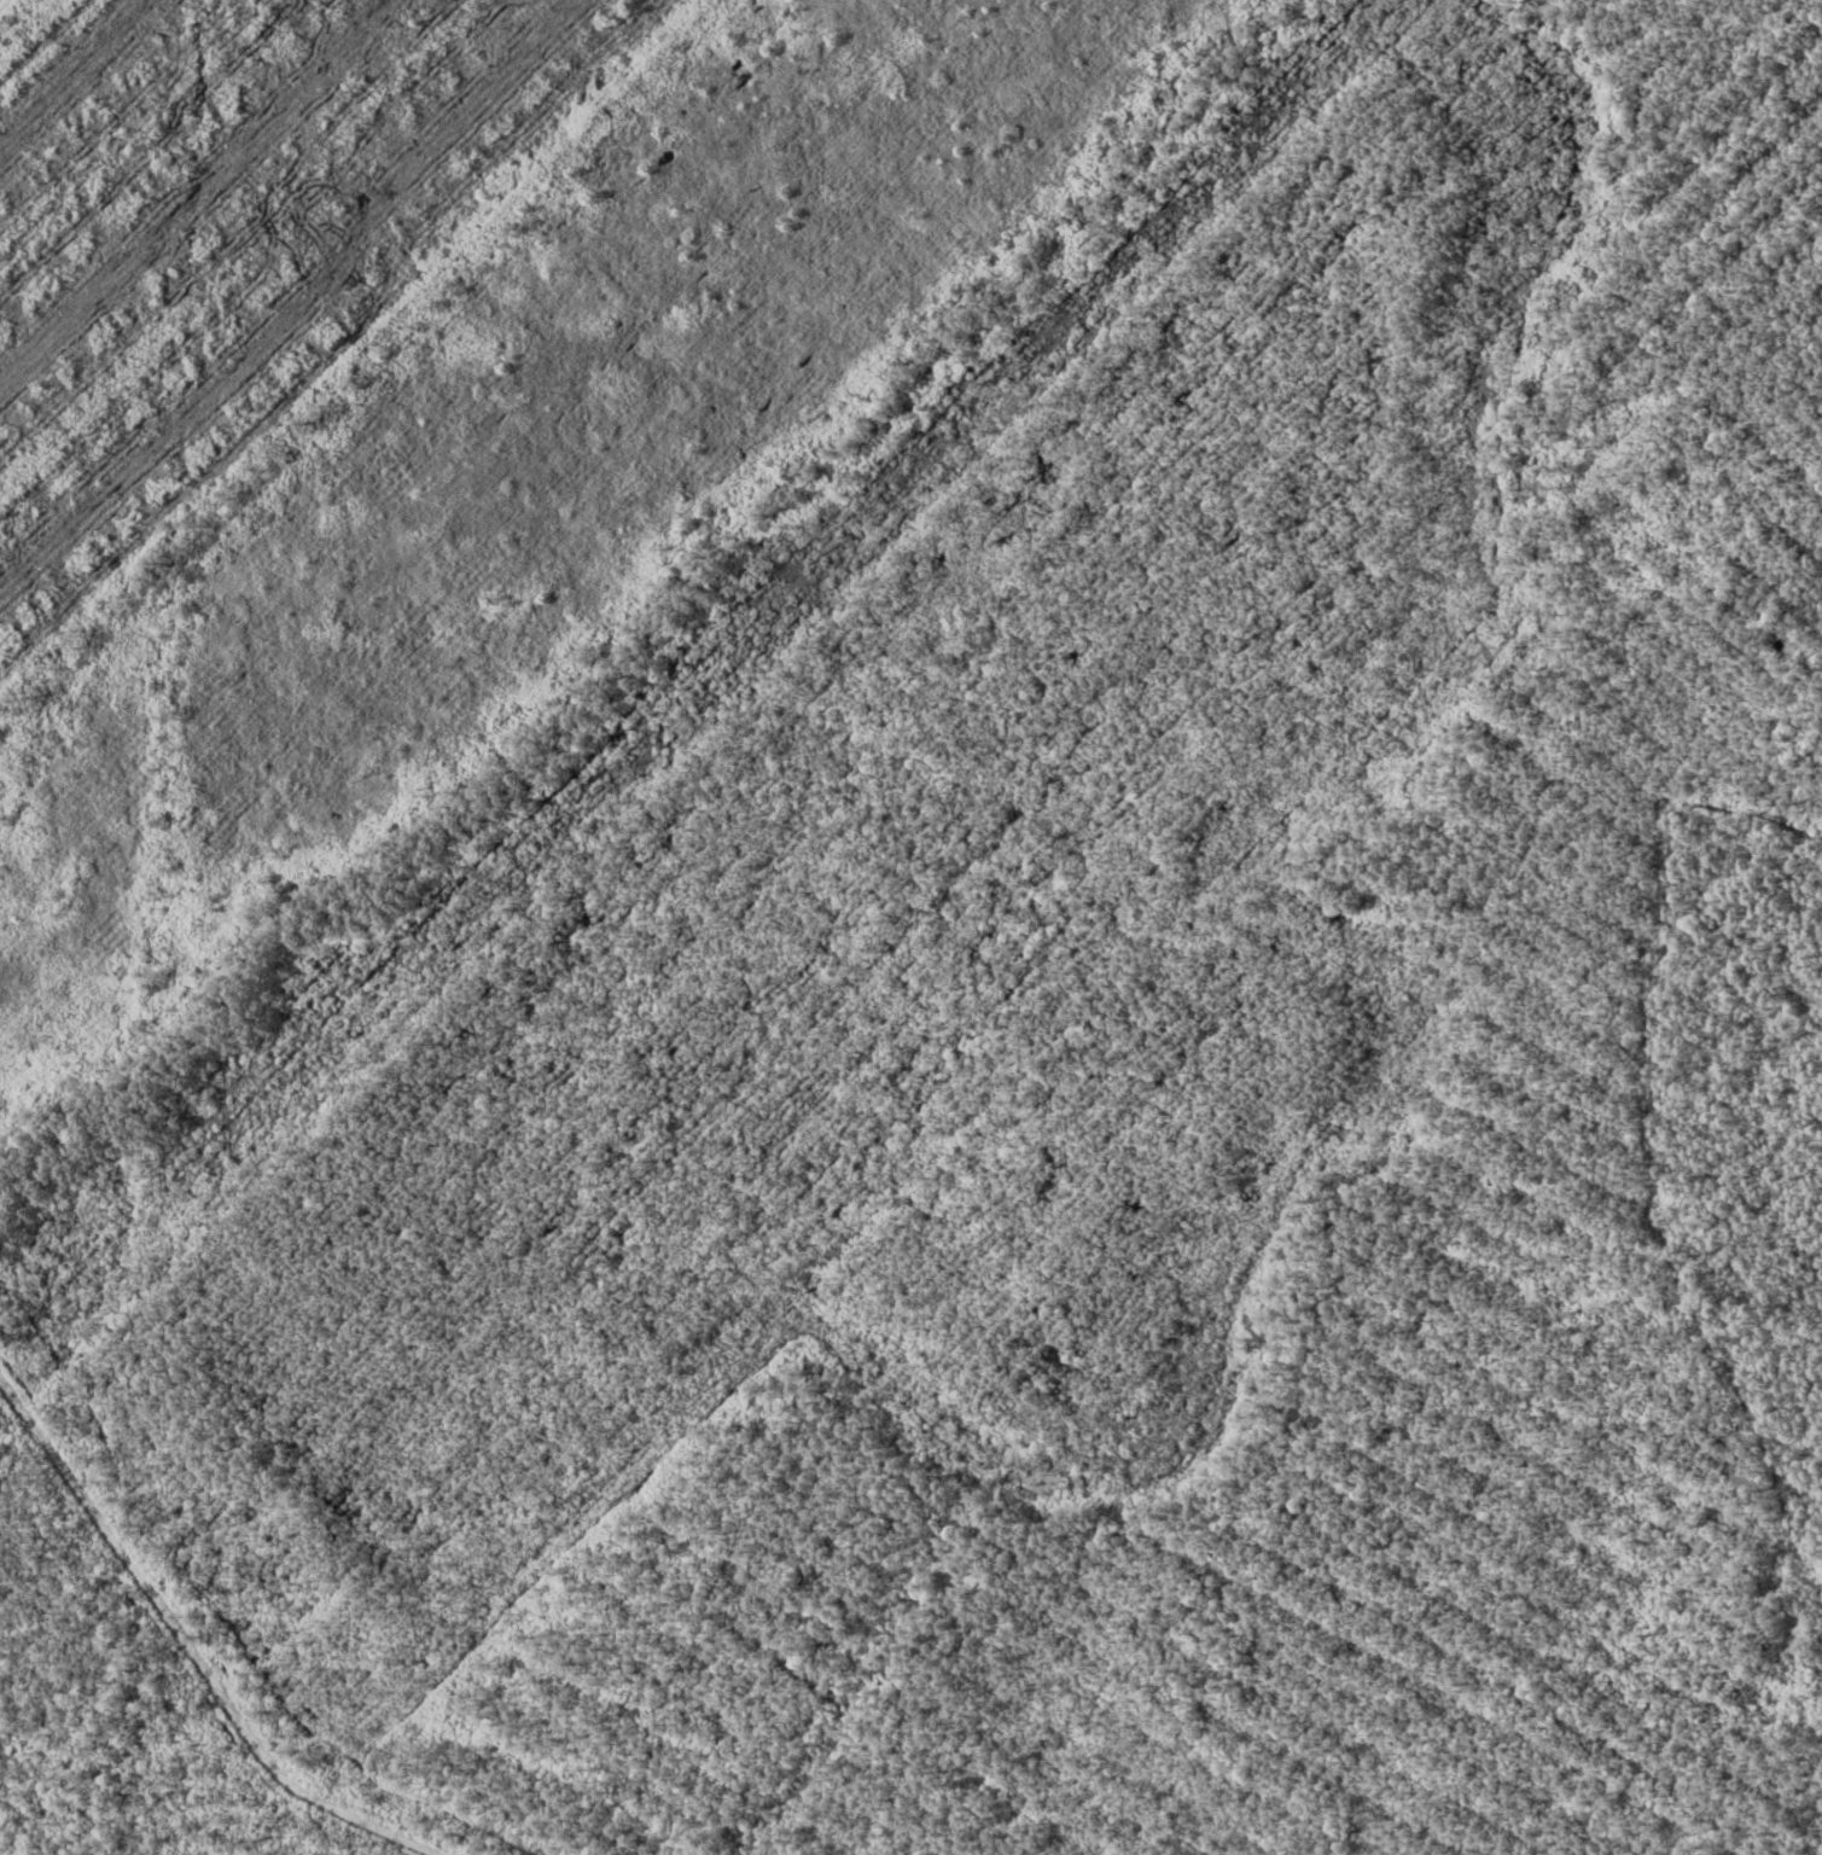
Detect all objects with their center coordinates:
road: (185, 1634)

